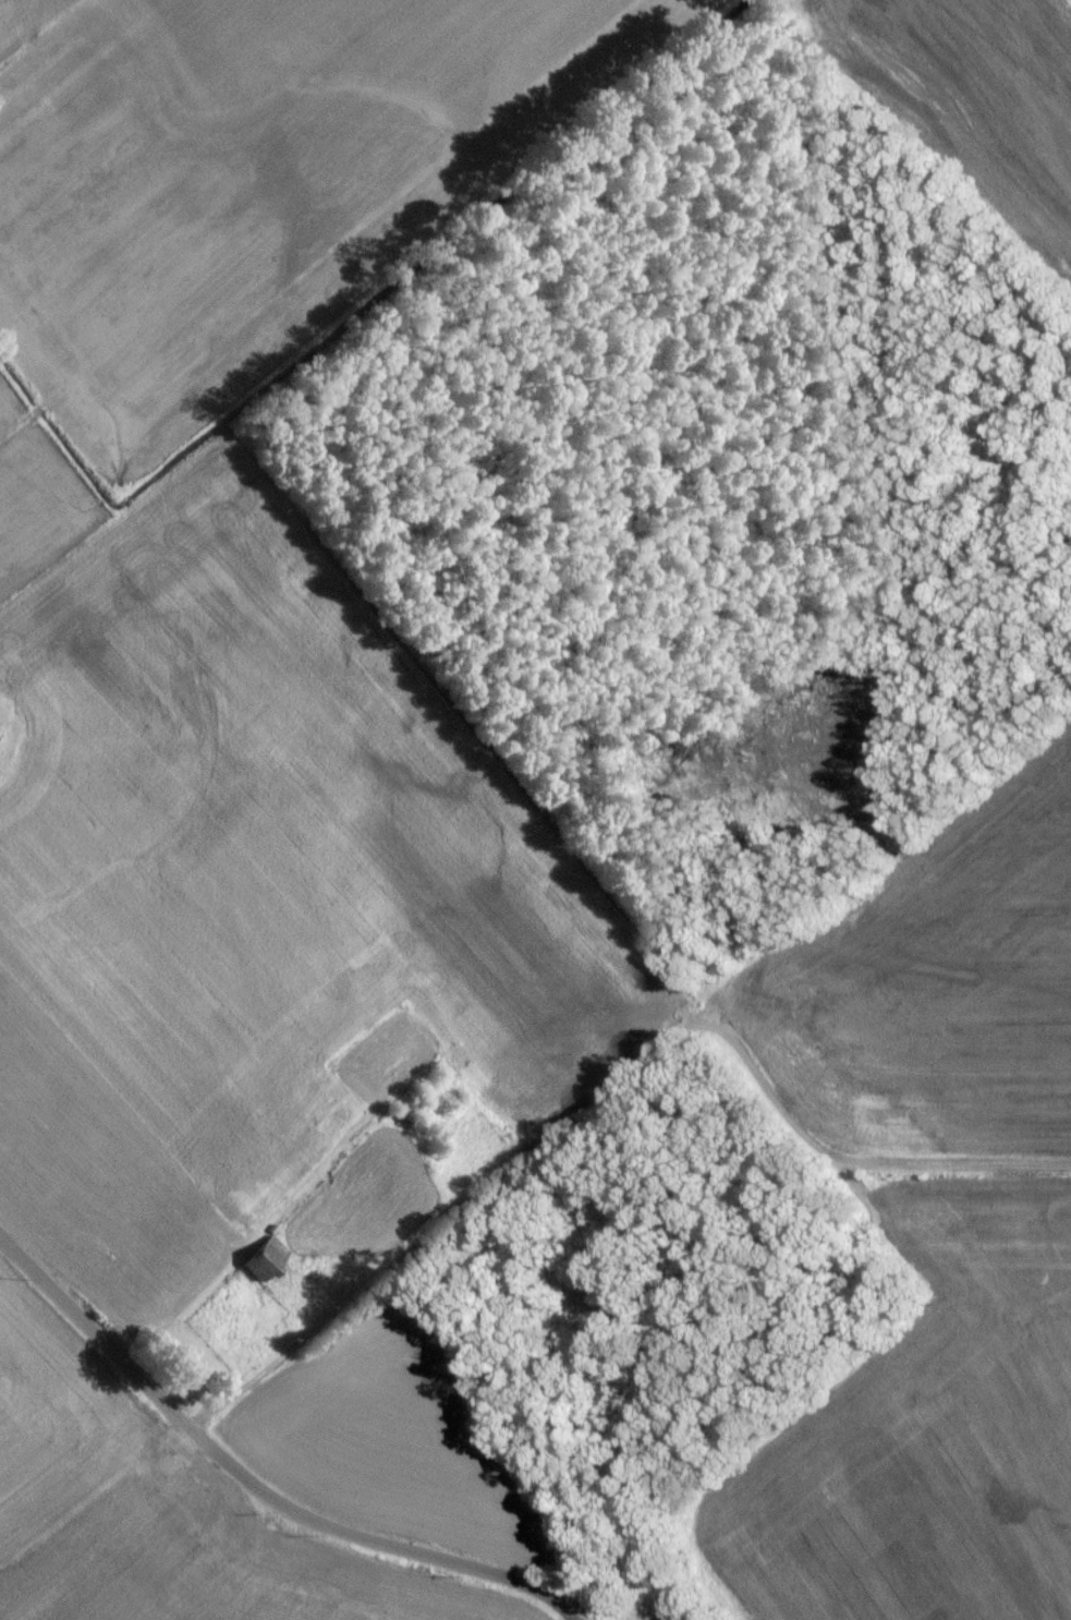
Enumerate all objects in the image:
road: (609, 1088)
building: (271, 1233)
building: (266, 1264)
road: (251, 1486)

